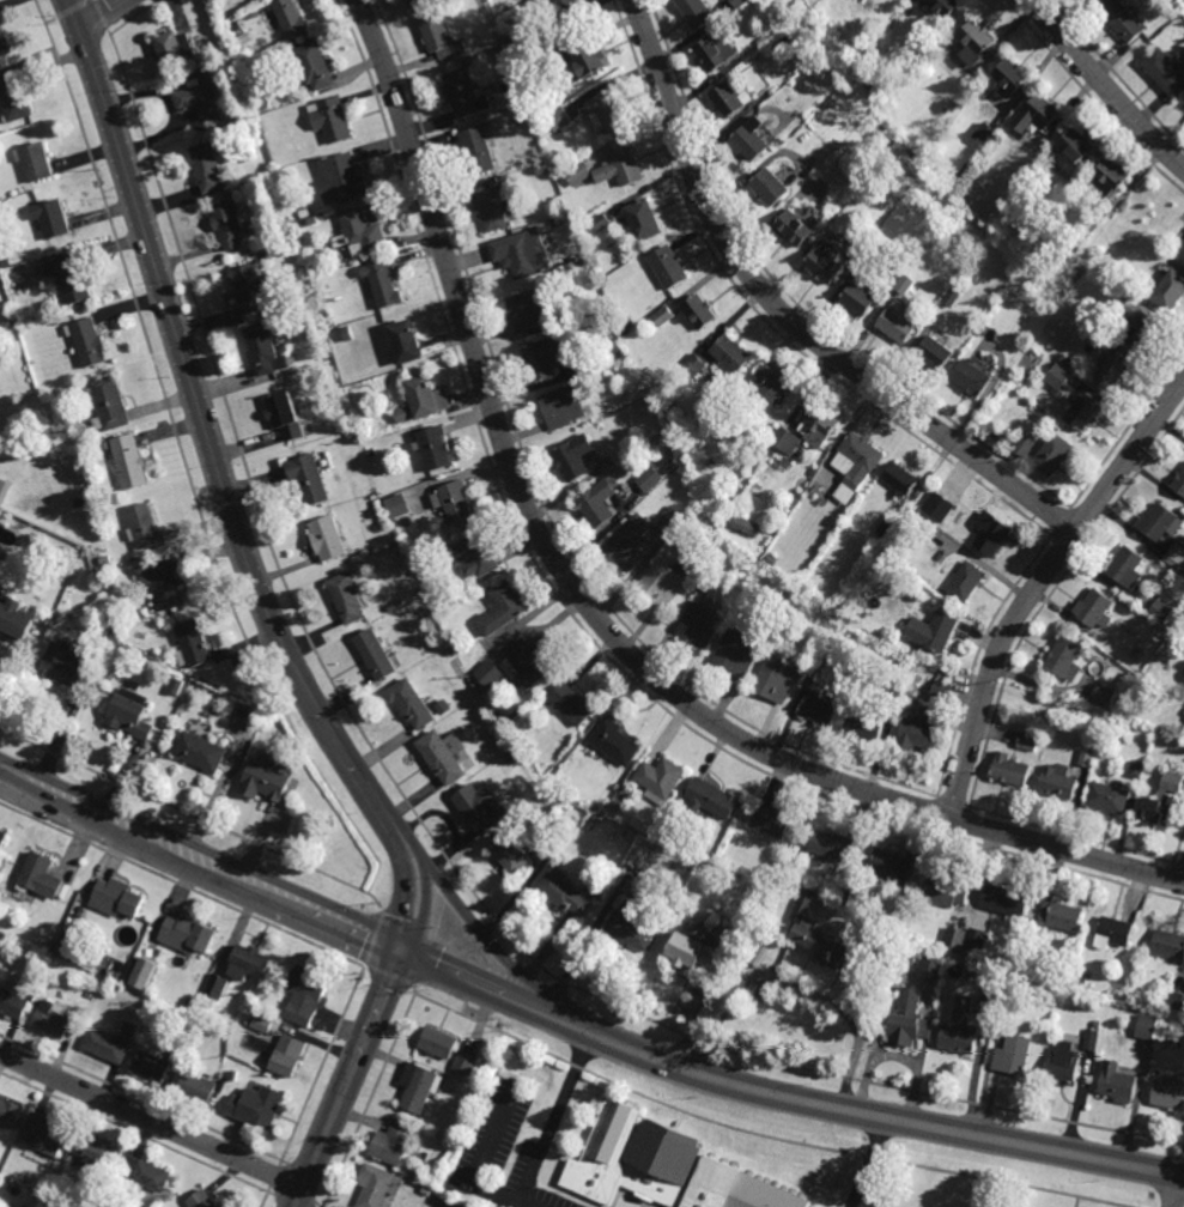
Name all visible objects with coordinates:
building: (421, 1)
building: (739, 2)
building: (867, 4)
building: (566, 7)
building: (943, 7)
building: (698, 13)
road: (103, 16)
building: (291, 19)
building: (1122, 23)
building: (236, 26)
building: (1173, 30)
building: (436, 36)
building: (761, 42)
building: (977, 44)
building: (4, 47)
building: (778, 47)
building: (172, 51)
building: (717, 54)
building: (546, 57)
building: (837, 61)
building: (590, 62)
building: (314, 67)
building: (1166, 74)
building: (1013, 78)
road: (1104, 85)
building: (13, 96)
building: (465, 96)
building: (198, 101)
building: (517, 101)
building: (733, 102)
building: (262, 104)
building: (951, 105)
building: (606, 114)
building: (1037, 116)
building: (521, 120)
building: (558, 120)
building: (329, 121)
building: (983, 133)
building: (753, 141)
building: (1077, 148)
building: (480, 150)
building: (35, 160)
building: (207, 169)
building: (623, 169)
building: (1039, 171)
building: (578, 174)
building: (1112, 178)
building: (341, 180)
building: (958, 180)
building: (771, 189)
building: (941, 205)
building: (492, 210)
building: (302, 211)
building: (50, 217)
building: (600, 222)
building: (643, 223)
building: (227, 225)
building: (797, 230)
building: (362, 232)
building: (1101, 250)
building: (522, 254)
building: (1183, 256)
building: (5, 262)
building: (826, 266)
building: (669, 268)
building: (68, 277)
building: (905, 283)
building: (381, 285)
building: (250, 286)
building: (1170, 292)
building: (952, 296)
building: (861, 298)
building: (532, 311)
building: (700, 313)
building: (8, 315)
building: (663, 315)
road: (787, 316)
building: (332, 322)
building: (626, 322)
building: (900, 322)
building: (984, 328)
building: (1144, 329)
building: (346, 333)
building: (320, 335)
building: (86, 340)
building: (406, 341)
building: (262, 348)
building: (940, 351)
building: (731, 353)
building: (544, 359)
building: (1067, 359)
building: (693, 365)
building: (1113, 370)
building: (1057, 375)
building: (972, 378)
building: (765, 392)
building: (426, 396)
building: (109, 402)
building: (563, 407)
building: (401, 414)
building: (1086, 414)
building: (285, 417)
building: (362, 426)
building: (820, 426)
building: (348, 435)
road: (208, 439)
building: (785, 439)
building: (1024, 444)
building: (436, 448)
building: (370, 453)
building: (1054, 454)
building: (575, 457)
building: (751, 459)
building: (127, 460)
building: (858, 467)
building: (649, 478)
building: (309, 479)
building: (901, 481)
building: (1180, 483)
building: (4, 489)
building: (80, 502)
building: (456, 503)
building: (935, 503)
building: (597, 504)
building: (711, 504)
building: (396, 507)
building: (719, 510)
building: (794, 517)
building: (670, 520)
building: (1160, 523)
building: (887, 524)
building: (142, 526)
building: (746, 526)
building: (996, 535)
building: (327, 538)
building: (627, 544)
building: (1174, 554)
building: (474, 556)
building: (103, 559)
building: (1128, 568)
building: (103, 571)
building: (888, 574)
building: (706, 580)
building: (966, 581)
building: (160, 582)
building: (661, 583)
road: (1036, 583)
building: (788, 595)
building: (347, 599)
building: (399, 601)
building: (391, 607)
building: (503, 608)
building: (1095, 608)
building: (439, 609)
building: (1160, 609)
building: (450, 614)
road: (593, 614)
building: (14, 620)
building: (702, 624)
building: (937, 631)
building: (192, 644)
building: (736, 653)
building: (375, 654)
building: (1064, 659)
building: (818, 662)
building: (530, 665)
building: (65, 666)
building: (488, 674)
building: (1183, 677)
building: (1127, 678)
building: (1183, 678)
building: (776, 680)
building: (941, 684)
building: (175, 686)
building: (893, 696)
building: (1101, 696)
building: (411, 704)
building: (572, 704)
building: (818, 708)
building: (515, 714)
building: (128, 717)
building: (864, 726)
building: (921, 727)
building: (1027, 739)
building: (223, 741)
building: (614, 742)
building: (199, 752)
building: (444, 756)
building: (1086, 756)
building: (262, 757)
building: (510, 757)
building: (1136, 768)
building: (1009, 770)
building: (661, 781)
building: (1171, 781)
building: (263, 782)
building: (1057, 782)
building: (624, 794)
building: (583, 797)
building: (1109, 799)
building: (714, 800)
building: (480, 809)
building: (1158, 812)
building: (595, 820)
building: (772, 824)
building: (589, 826)
building: (4, 843)
building: (832, 845)
building: (512, 853)
road: (200, 856)
building: (892, 867)
building: (770, 877)
building: (42, 878)
building: (945, 891)
building: (566, 896)
building: (116, 899)
road: (415, 899)
building: (1007, 900)
building: (804, 908)
building: (1064, 917)
building: (633, 930)
building: (187, 933)
building: (1115, 934)
building: (974, 938)
building: (954, 939)
building: (1, 940)
building: (51, 944)
building: (1170, 945)
traffic signals: (401, 946)
building: (824, 946)
building: (61, 948)
building: (696, 950)
building: (759, 953)
building: (909, 956)
road: (517, 965)
building: (930, 966)
building: (239, 968)
building: (145, 974)
road: (797, 989)
building: (304, 994)
building: (988, 995)
building: (1040, 996)
building: (16, 999)
road: (523, 1000)
building: (1162, 1000)
building: (1176, 1001)
building: (189, 1003)
building: (255, 1007)
building: (83, 1009)
building: (154, 1014)
building: (54, 1017)
building: (248, 1020)
building: (262, 1023)
building: (1097, 1024)
building: (190, 1025)
building: (1146, 1026)
building: (963, 1027)
building: (907, 1030)
building: (233, 1031)
building: (1091, 1039)
building: (111, 1041)
building: (439, 1043)
building: (289, 1054)
building: (1014, 1056)
building: (159, 1061)
building: (466, 1063)
building: (1064, 1065)
building: (235, 1074)
road: (346, 1076)
building: (1118, 1082)
building: (198, 1085)
building: (420, 1087)
building: (1170, 1093)
building: (257, 1105)
building: (10, 1110)
road: (150, 1120)
road: (553, 1121)
road: (912, 1123)
building: (48, 1133)
building: (391, 1146)
building: (103, 1152)
road: (481, 1160)
road: (869, 1163)
building: (663, 1167)
building: (146, 1175)
building: (6, 1184)
building: (378, 1185)
road: (1178, 1193)
building: (202, 1199)
building: (29, 1205)
road: (295, 1206)

